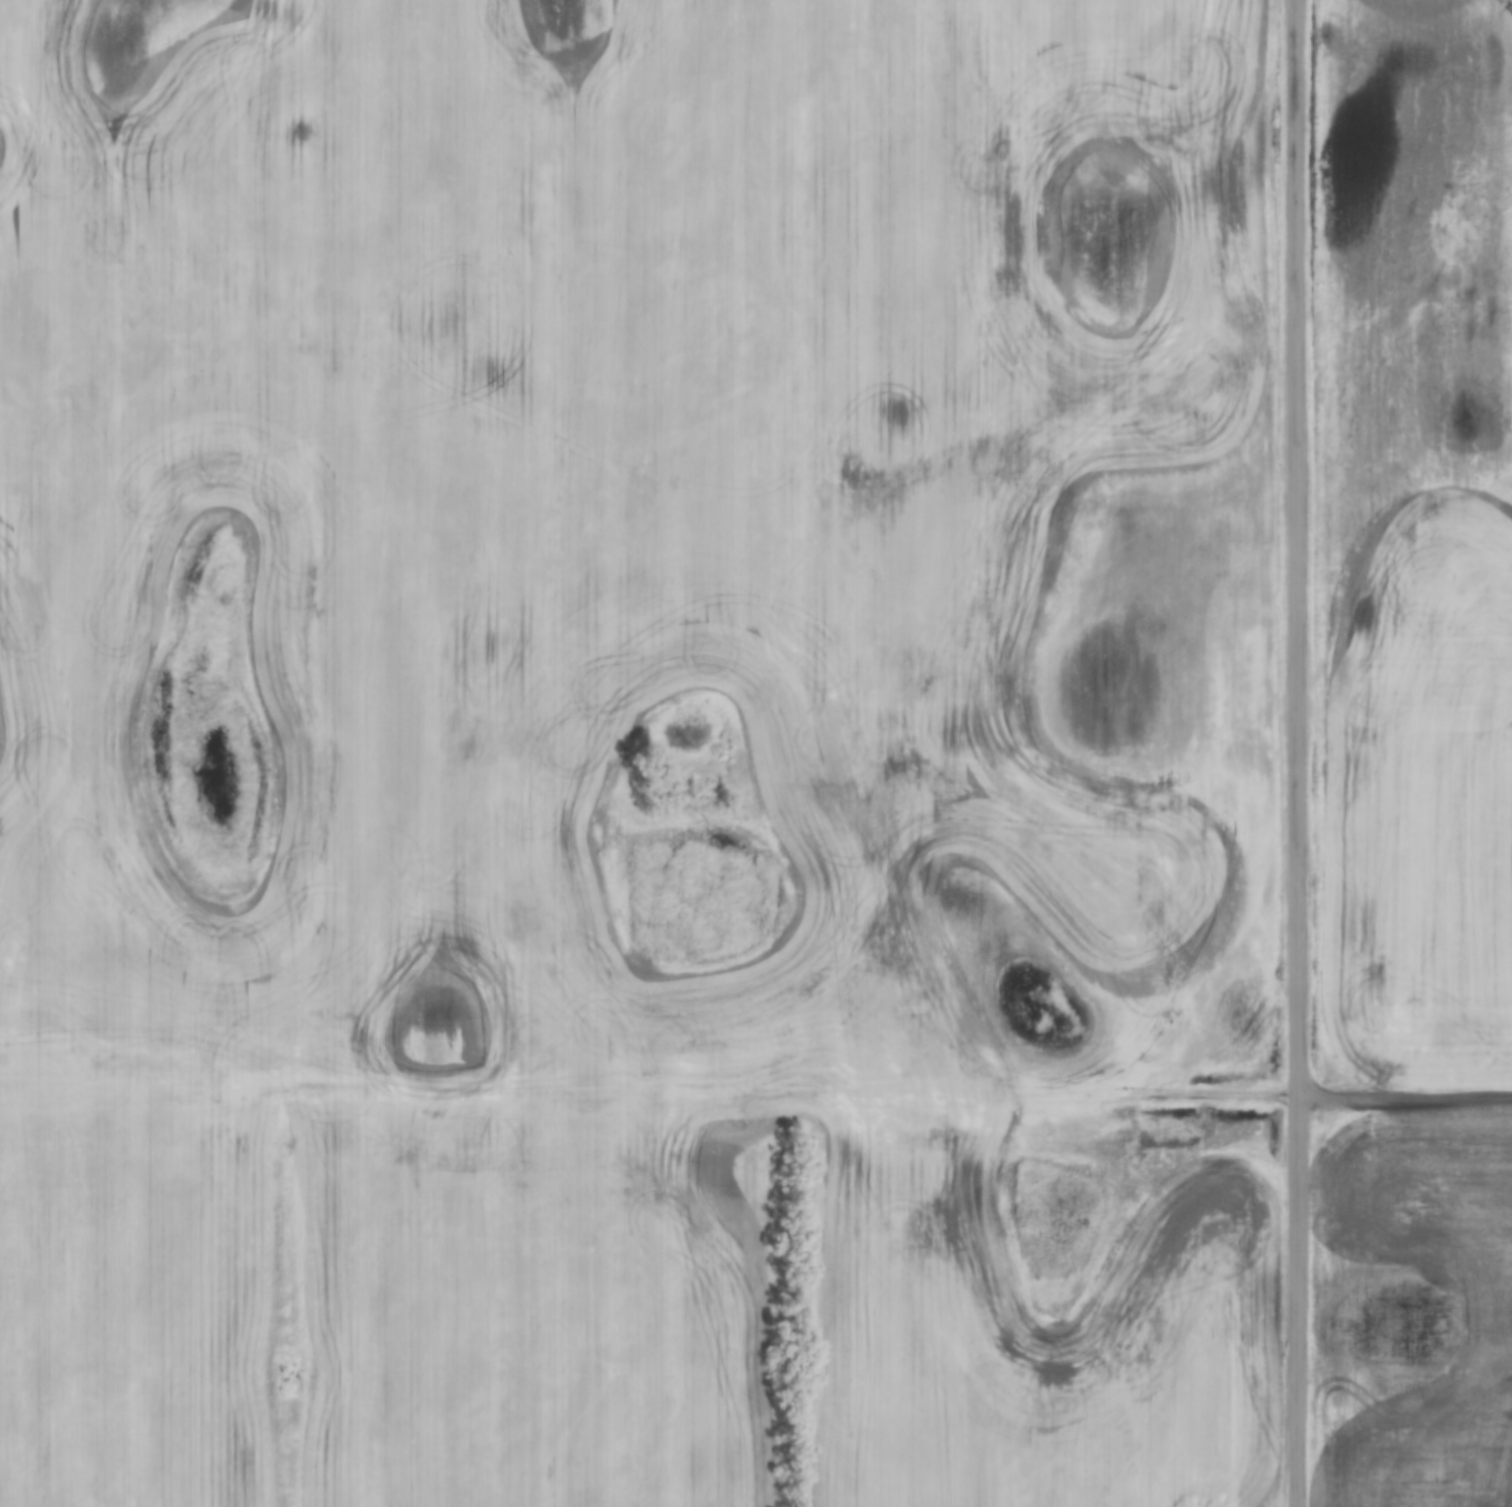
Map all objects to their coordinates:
road: (1296, 753)
road: (756, 1087)

